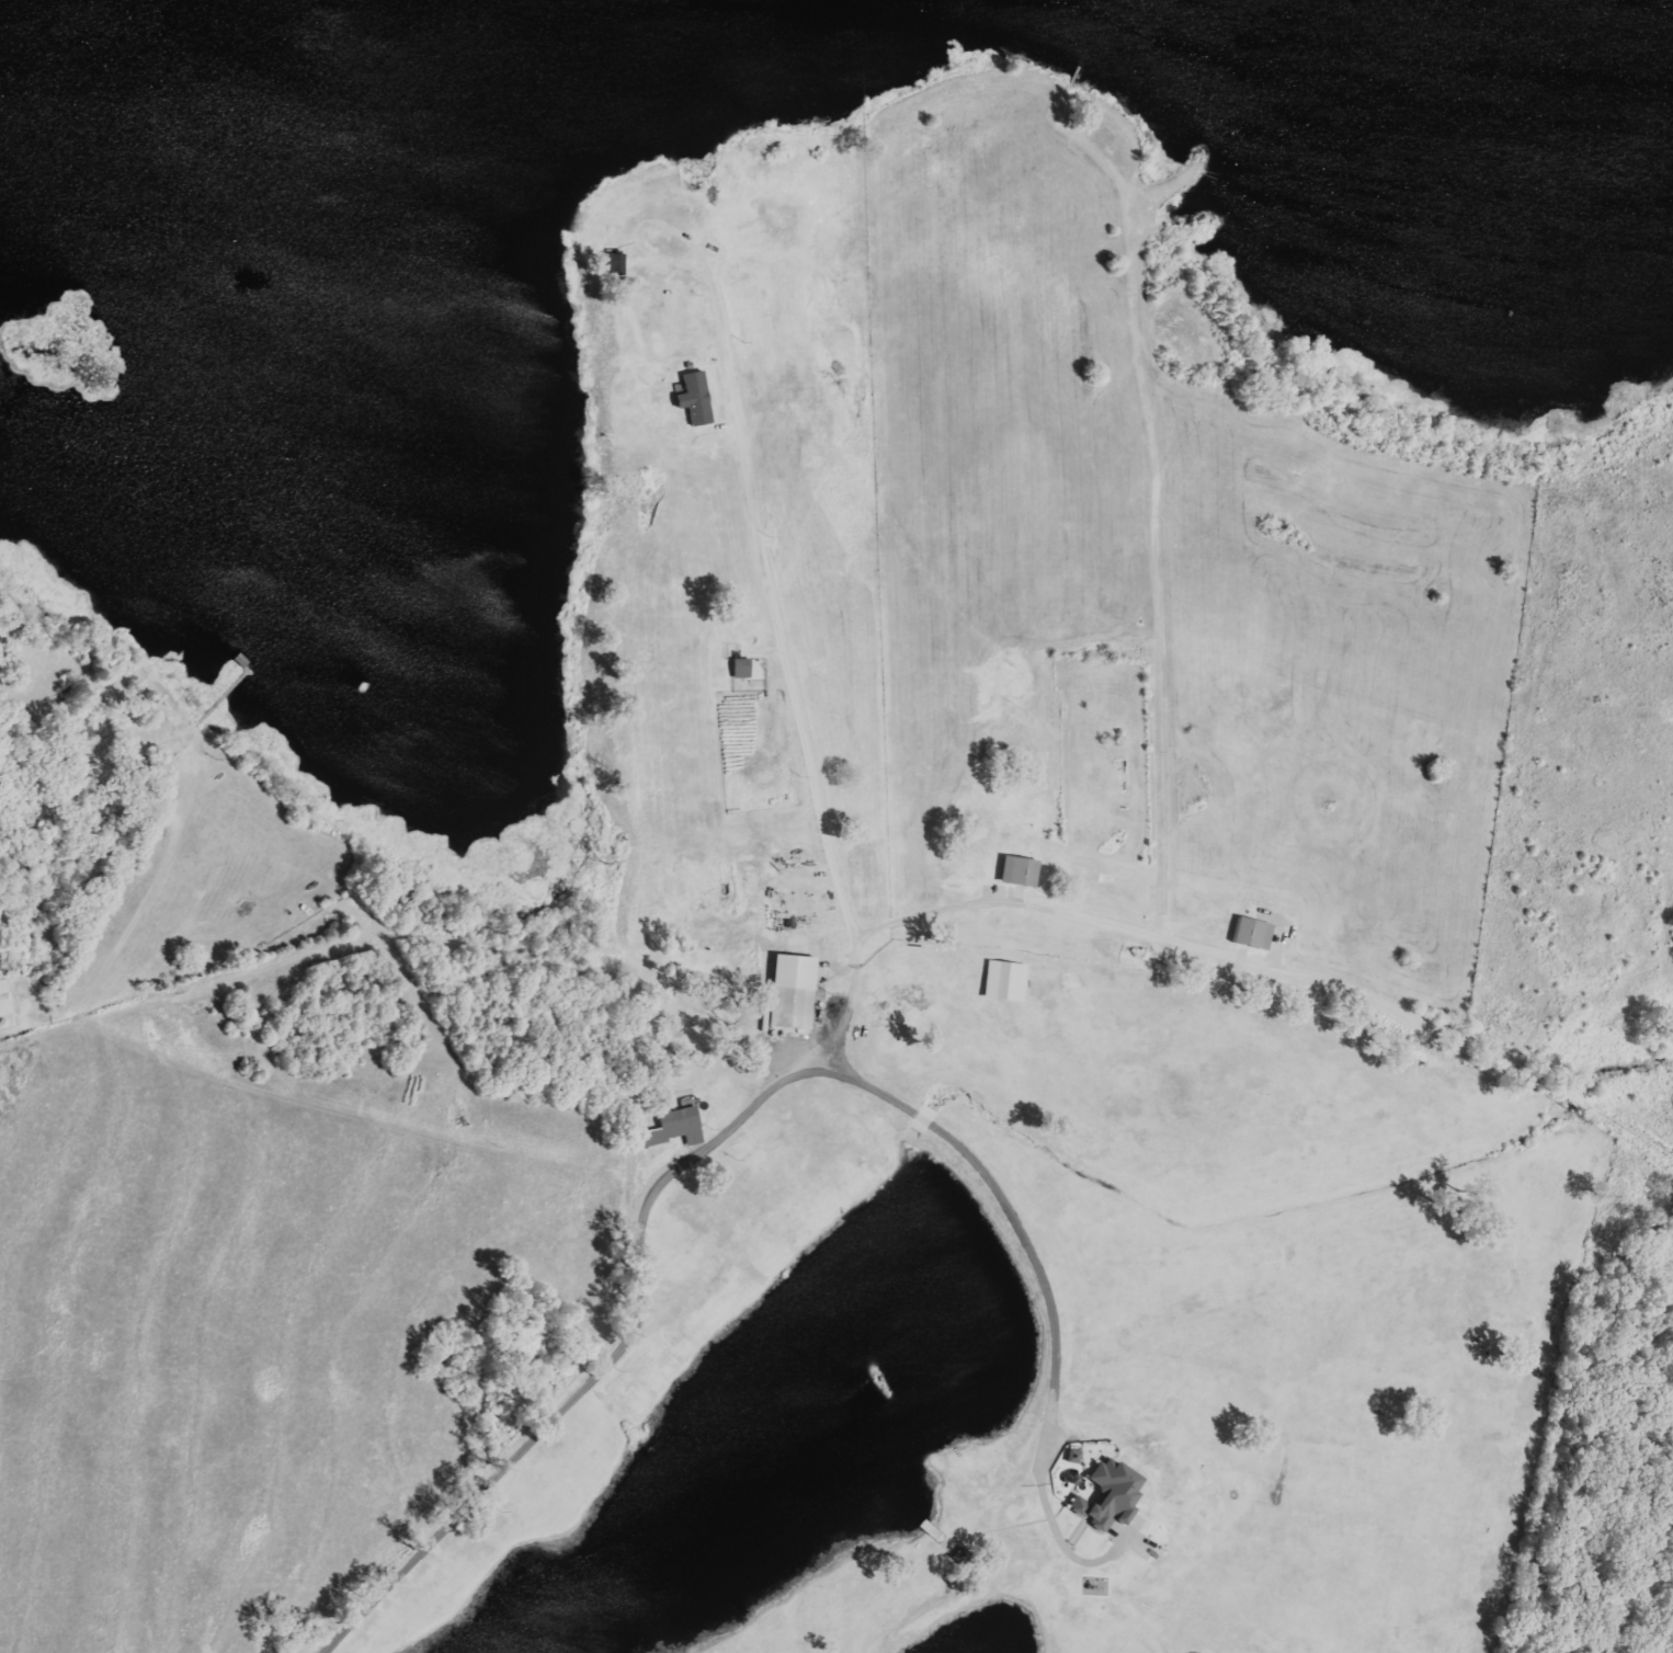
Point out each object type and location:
road: (640, 233)
building: (698, 399)
building: (741, 668)
building: (1021, 870)
building: (1253, 933)
road: (128, 981)
road: (1362, 989)
building: (794, 991)
road: (817, 1054)
building: (678, 1127)
road: (1047, 1295)
building: (1111, 1496)

